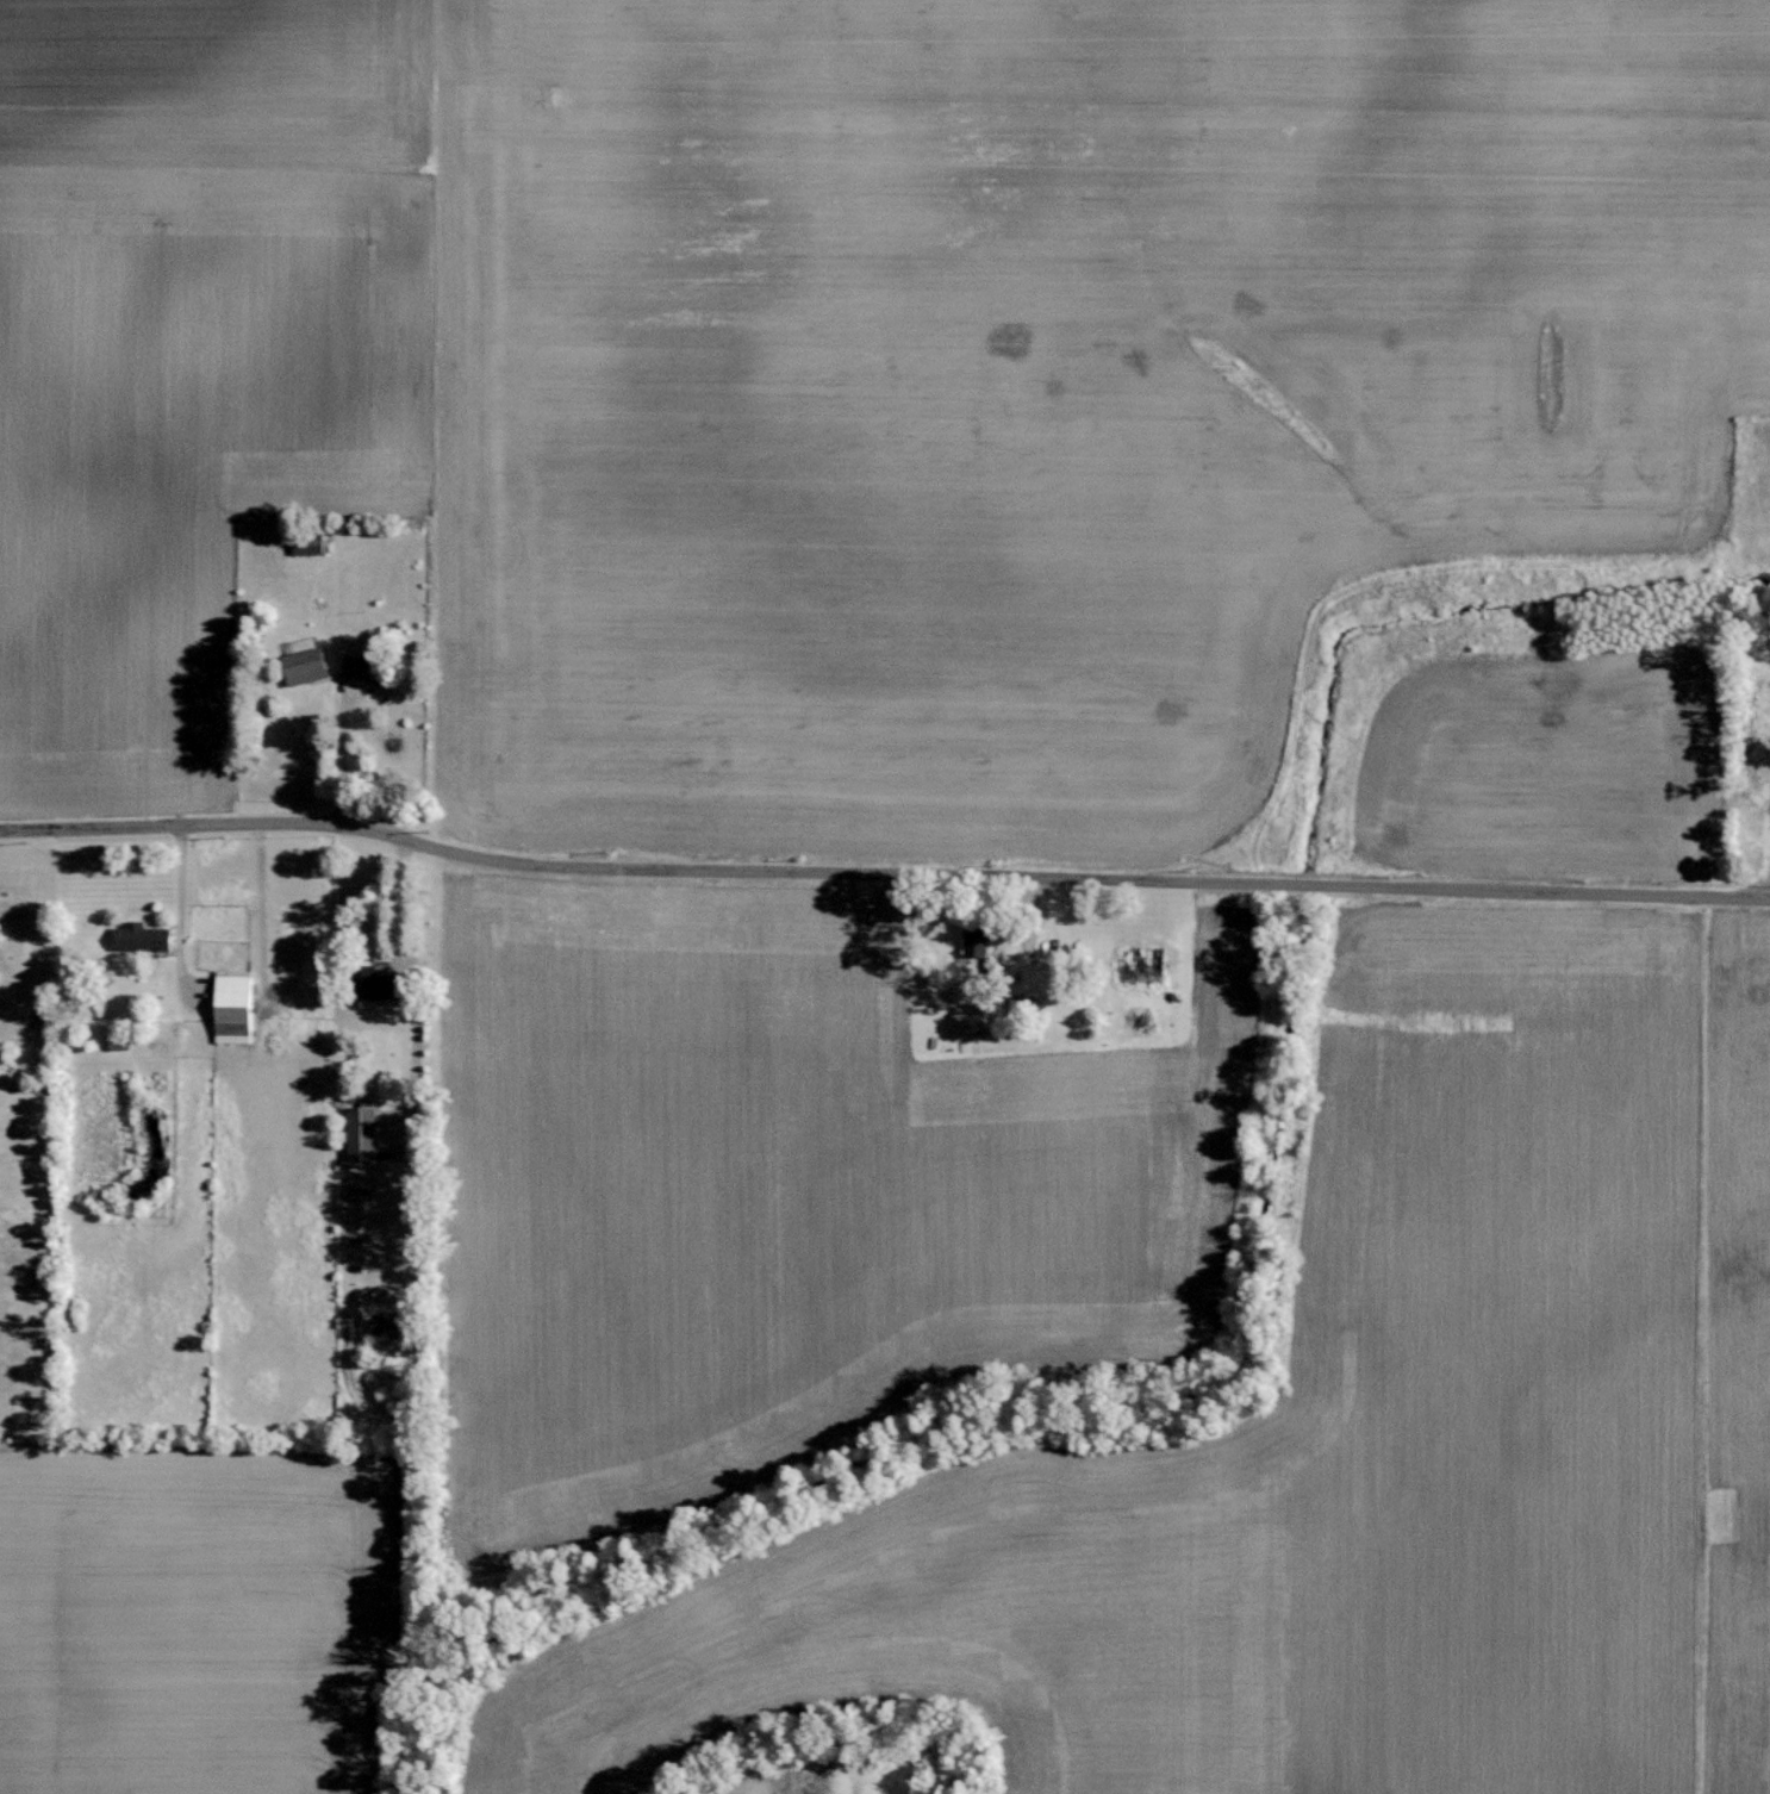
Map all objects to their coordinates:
building: (307, 666)
building: (360, 667)
road: (335, 748)
road: (881, 867)
road: (181, 889)
road: (394, 904)
building: (144, 938)
building: (977, 942)
building: (380, 985)
building: (233, 1007)
building: (119, 1044)
building: (363, 1130)

